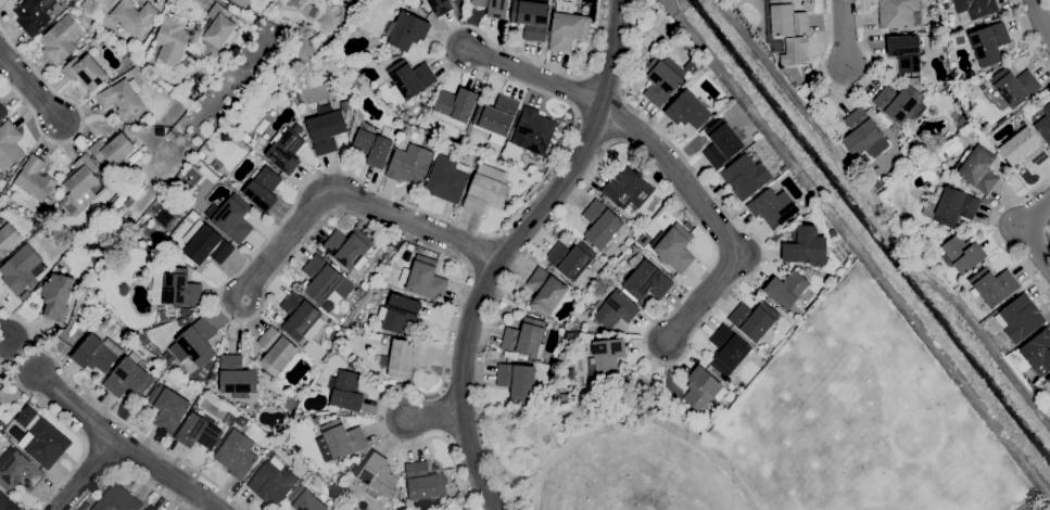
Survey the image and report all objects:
road: (184, 0)
road: (0, 1)
building: (241, 2)
building: (441, 7)
building: (493, 8)
building: (974, 9)
building: (897, 13)
building: (34, 14)
building: (134, 16)
building: (531, 18)
building: (787, 18)
road: (1042, 18)
building: (257, 21)
building: (219, 27)
building: (567, 28)
building: (408, 30)
road: (843, 34)
road: (1028, 37)
building: (61, 39)
building: (172, 41)
building: (989, 42)
building: (795, 51)
building: (906, 52)
building: (85, 71)
building: (407, 78)
road: (535, 78)
building: (660, 80)
road: (29, 86)
building: (1014, 86)
building: (807, 87)
road: (847, 91)
building: (122, 98)
building: (898, 102)
building: (346, 105)
building: (455, 106)
building: (419, 109)
building: (687, 110)
building: (2, 112)
building: (496, 117)
road: (80, 120)
building: (1045, 124)
building: (326, 129)
building: (533, 130)
building: (860, 131)
building: (245, 137)
building: (721, 143)
building: (9, 144)
building: (372, 146)
building: (112, 149)
building: (1024, 149)
building: (286, 150)
building: (201, 155)
building: (136, 157)
building: (409, 164)
building: (217, 166)
building: (784, 168)
building: (979, 169)
building: (745, 176)
building: (35, 179)
building: (447, 179)
building: (81, 181)
building: (263, 189)
building: (486, 189)
building: (628, 190)
road: (350, 199)
building: (48, 201)
building: (949, 206)
building: (773, 207)
building: (231, 217)
road: (283, 219)
road: (712, 220)
building: (600, 224)
building: (687, 225)
road: (1049, 229)
road: (1022, 231)
road: (991, 232)
building: (644, 239)
building: (9, 240)
building: (205, 244)
building: (806, 246)
building: (347, 247)
building: (415, 247)
road: (510, 247)
building: (673, 247)
building: (105, 250)
building: (963, 253)
building: (571, 258)
road: (709, 268)
building: (20, 269)
building: (423, 278)
building: (324, 280)
building: (645, 280)
building: (994, 285)
building: (178, 288)
building: (786, 289)
building: (545, 291)
building: (56, 296)
building: (616, 309)
building: (399, 313)
building: (299, 315)
building: (1020, 318)
road: (17, 319)
building: (754, 319)
road: (3, 334)
building: (526, 337)
building: (197, 342)
building: (315, 349)
building: (728, 349)
building: (276, 350)
building: (603, 352)
building: (1038, 352)
building: (97, 353)
road: (22, 355)
building: (510, 355)
building: (406, 357)
road: (10, 358)
building: (128, 377)
building: (237, 377)
building: (1048, 380)
building: (518, 381)
building: (703, 388)
building: (346, 391)
building: (565, 396)
building: (5, 398)
building: (168, 408)
road: (51, 410)
road: (434, 415)
building: (295, 419)
building: (317, 420)
building: (1, 425)
road: (603, 431)
building: (198, 432)
park: (795, 433)
road: (142, 434)
building: (41, 438)
building: (340, 439)
road: (123, 445)
building: (237, 454)
road: (703, 455)
road: (124, 470)
building: (20, 472)
road: (84, 474)
road: (65, 477)
building: (377, 477)
park: (886, 479)
building: (273, 483)
building: (425, 484)
park: (690, 489)
building: (117, 499)
building: (305, 500)
building: (7, 503)
building: (84, 506)
park: (1026, 507)
building: (151, 508)

